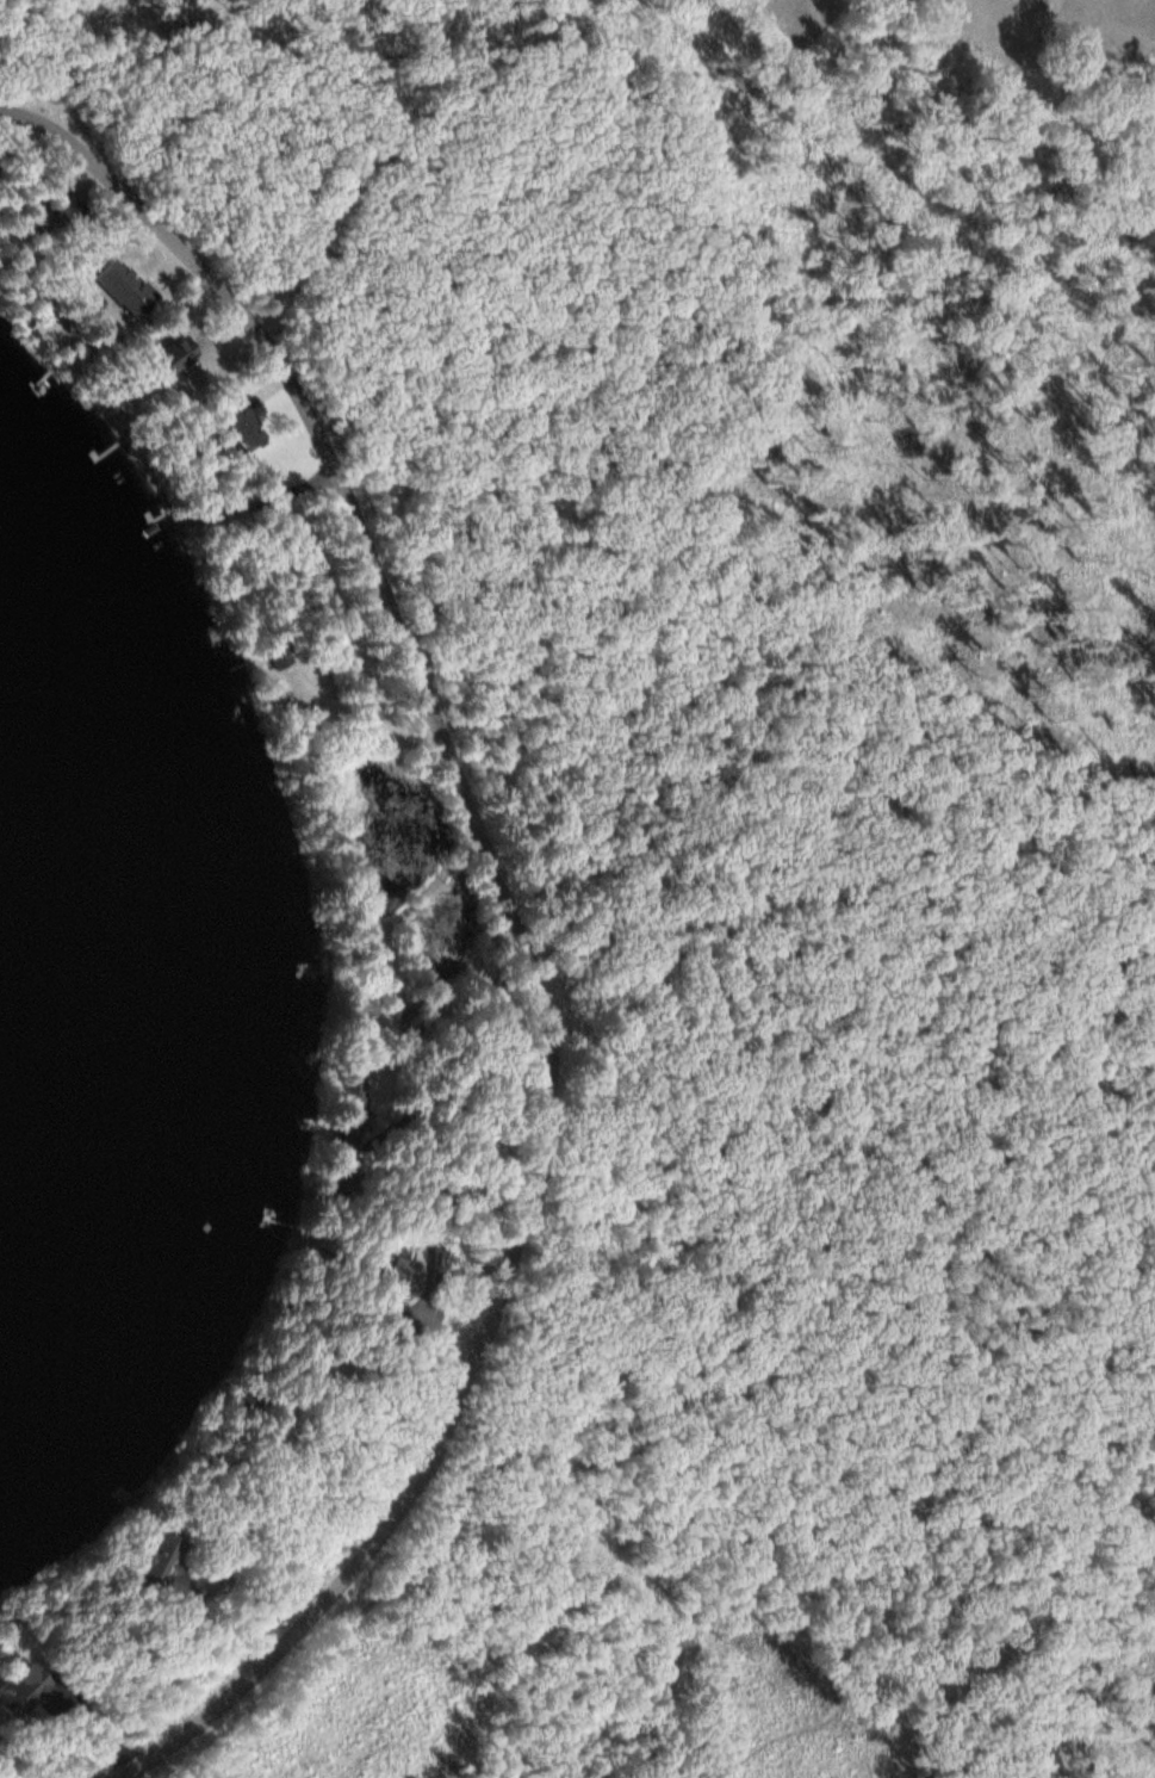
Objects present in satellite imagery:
building: (27, 222)
building: (167, 357)
building: (229, 423)
road: (634, 534)
building: (278, 655)
road: (697, 813)
road: (516, 936)
building: (360, 1005)
building: (410, 1010)
building: (352, 1102)
building: (340, 1182)
building: (448, 1196)
building: (398, 1268)
building: (241, 1399)
building: (160, 1567)
road: (926, 1628)
building: (20, 1690)

